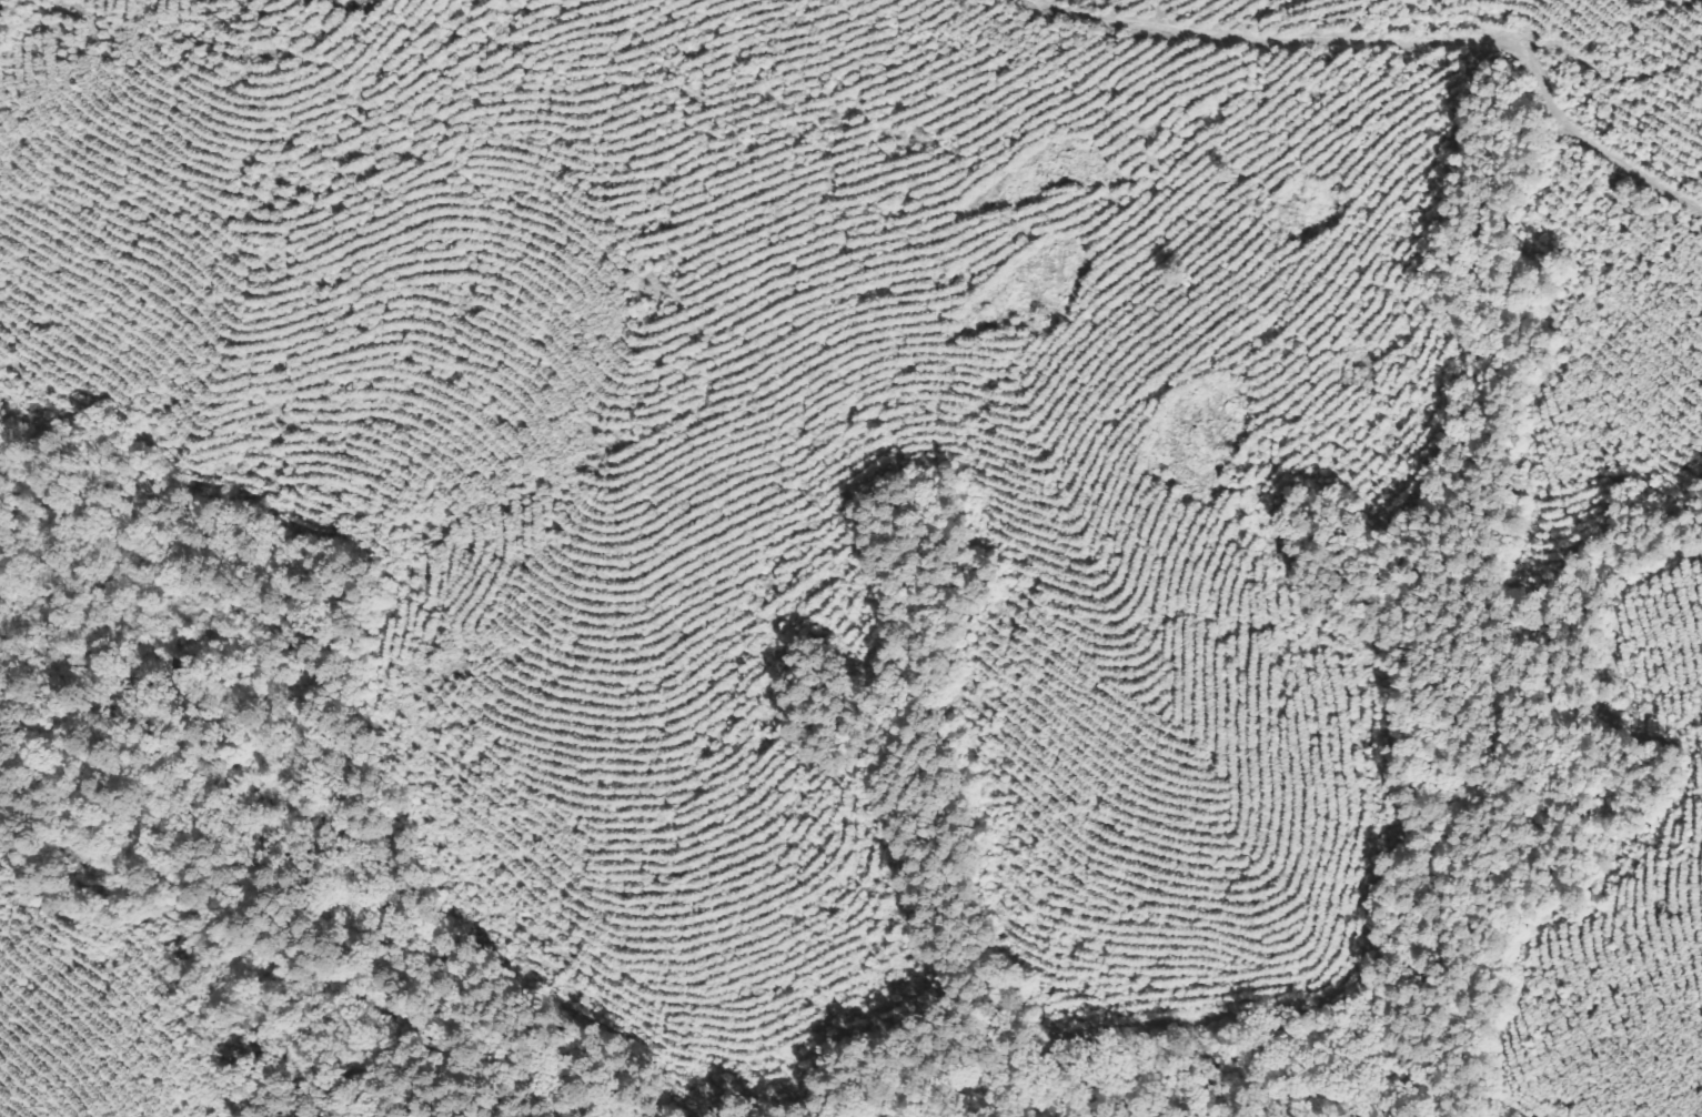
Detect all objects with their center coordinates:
road: (3, 6)
road: (1403, 42)

